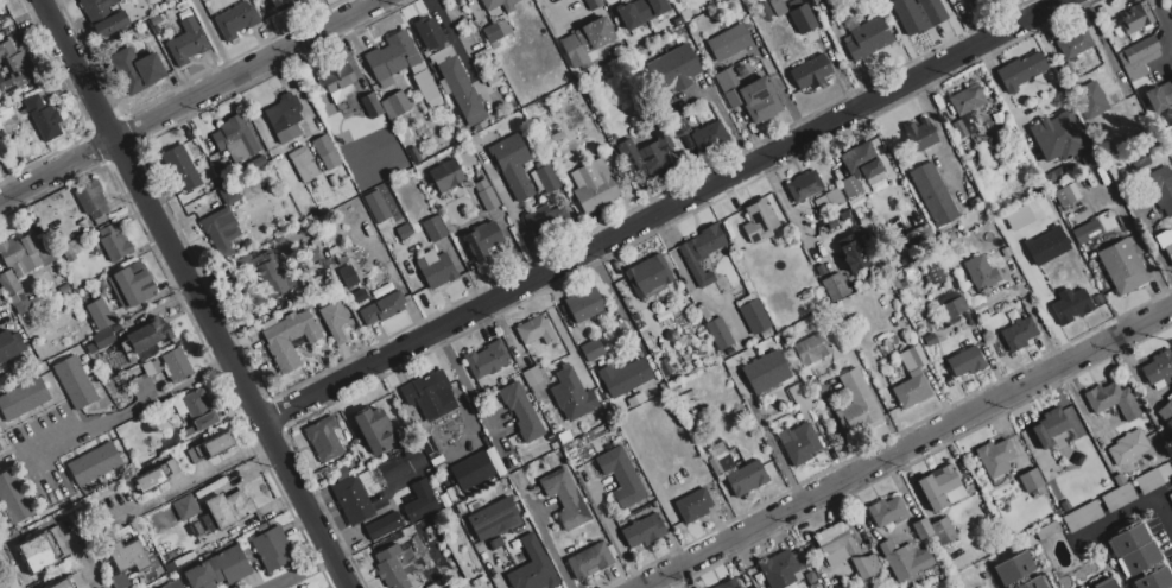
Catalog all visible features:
building: (286, 1)
building: (1170, 2)
building: (593, 4)
building: (981, 5)
building: (777, 7)
building: (764, 11)
building: (932, 11)
building: (640, 12)
building: (685, 14)
road: (1163, 15)
building: (104, 17)
building: (908, 17)
building: (802, 18)
building: (1134, 18)
building: (236, 20)
building: (495, 20)
building: (678, 21)
building: (430, 33)
road: (214, 38)
building: (867, 38)
building: (585, 40)
building: (1073, 42)
building: (186, 43)
building: (729, 43)
building: (391, 56)
building: (1139, 57)
building: (14, 68)
building: (138, 69)
building: (673, 69)
building: (811, 71)
building: (1020, 71)
building: (1171, 78)
building: (338, 83)
building: (424, 86)
building: (458, 86)
building: (749, 95)
building: (1159, 96)
road: (188, 99)
building: (1090, 100)
building: (398, 103)
building: (965, 105)
building: (370, 106)
building: (33, 118)
building: (284, 118)
building: (479, 126)
building: (677, 127)
building: (919, 134)
building: (709, 137)
building: (1058, 137)
building: (234, 139)
building: (327, 152)
building: (648, 157)
building: (1138, 159)
building: (303, 164)
building: (513, 165)
building: (180, 167)
building: (859, 167)
building: (1113, 173)
building: (445, 176)
building: (546, 179)
building: (316, 184)
building: (593, 185)
building: (804, 185)
building: (1160, 189)
building: (228, 194)
building: (932, 194)
building: (484, 195)
building: (1066, 195)
building: (93, 201)
building: (829, 201)
building: (376, 207)
road: (509, 209)
road: (667, 211)
building: (843, 215)
building: (1018, 217)
building: (545, 220)
building: (759, 220)
building: (435, 228)
building: (221, 230)
building: (404, 232)
building: (1087, 232)
building: (387, 239)
building: (482, 240)
building: (114, 241)
building: (1166, 242)
building: (1045, 246)
building: (70, 249)
building: (701, 253)
building: (853, 253)
building: (26, 254)
building: (895, 264)
building: (1121, 266)
building: (436, 270)
building: (981, 272)
building: (933, 273)
building: (261, 276)
building: (648, 276)
building: (347, 278)
building: (897, 284)
building: (131, 286)
building: (834, 287)
building: (63, 289)
building: (14, 292)
road: (201, 292)
building: (360, 296)
building: (584, 305)
building: (1070, 305)
building: (952, 308)
building: (382, 309)
road: (1045, 310)
building: (99, 314)
building: (754, 317)
building: (335, 320)
building: (534, 330)
building: (718, 334)
building: (1018, 334)
building: (150, 335)
building: (289, 337)
building: (929, 340)
building: (100, 341)
building: (9, 344)
building: (812, 349)
building: (593, 350)
building: (145, 353)
building: (487, 359)
building: (912, 359)
building: (965, 362)
building: (176, 365)
building: (152, 367)
building: (1159, 369)
building: (766, 371)
building: (625, 377)
building: (533, 378)
building: (75, 381)
road: (464, 382)
building: (141, 388)
building: (911, 390)
building: (571, 394)
building: (430, 396)
building: (23, 398)
building: (800, 398)
building: (679, 399)
building: (1114, 400)
building: (633, 402)
building: (856, 405)
road: (132, 410)
building: (196, 411)
building: (520, 412)
building: (1166, 412)
building: (1049, 426)
building: (612, 428)
building: (122, 429)
building: (373, 431)
building: (564, 437)
road: (768, 438)
building: (324, 440)
building: (171, 443)
building: (799, 443)
building: (132, 445)
building: (553, 445)
road: (906, 445)
building: (208, 447)
building: (1128, 447)
building: (0, 448)
building: (0, 450)
building: (739, 457)
building: (995, 460)
building: (94, 463)
building: (172, 467)
building: (164, 468)
building: (379, 468)
building: (476, 468)
building: (735, 470)
building: (341, 473)
road: (204, 474)
building: (621, 478)
building: (1117, 479)
building: (1152, 479)
building: (148, 480)
building: (1030, 480)
building: (940, 488)
building: (450, 494)
building: (1116, 497)
building: (13, 498)
building: (565, 498)
building: (1170, 498)
building: (353, 500)
building: (693, 505)
building: (1065, 505)
building: (185, 507)
building: (229, 508)
building: (419, 508)
building: (461, 508)
building: (886, 511)
road: (1132, 511)
building: (1082, 517)
building: (493, 519)
building: (382, 525)
building: (1050, 529)
building: (933, 530)
building: (644, 532)
building: (495, 543)
road: (546, 543)
building: (835, 543)
building: (272, 548)
building: (514, 548)
building: (1133, 549)
building: (42, 550)
building: (125, 559)
building: (590, 559)
building: (904, 559)
building: (395, 565)
building: (170, 567)
building: (532, 567)
building: (864, 567)
building: (217, 569)
building: (778, 569)
road: (305, 570)
park: (8, 571)
building: (1018, 573)
building: (1154, 580)
building: (70, 581)
building: (816, 582)
building: (1104, 583)
building: (173, 584)
building: (727, 584)
building: (430, 586)
building: (308, 587)

